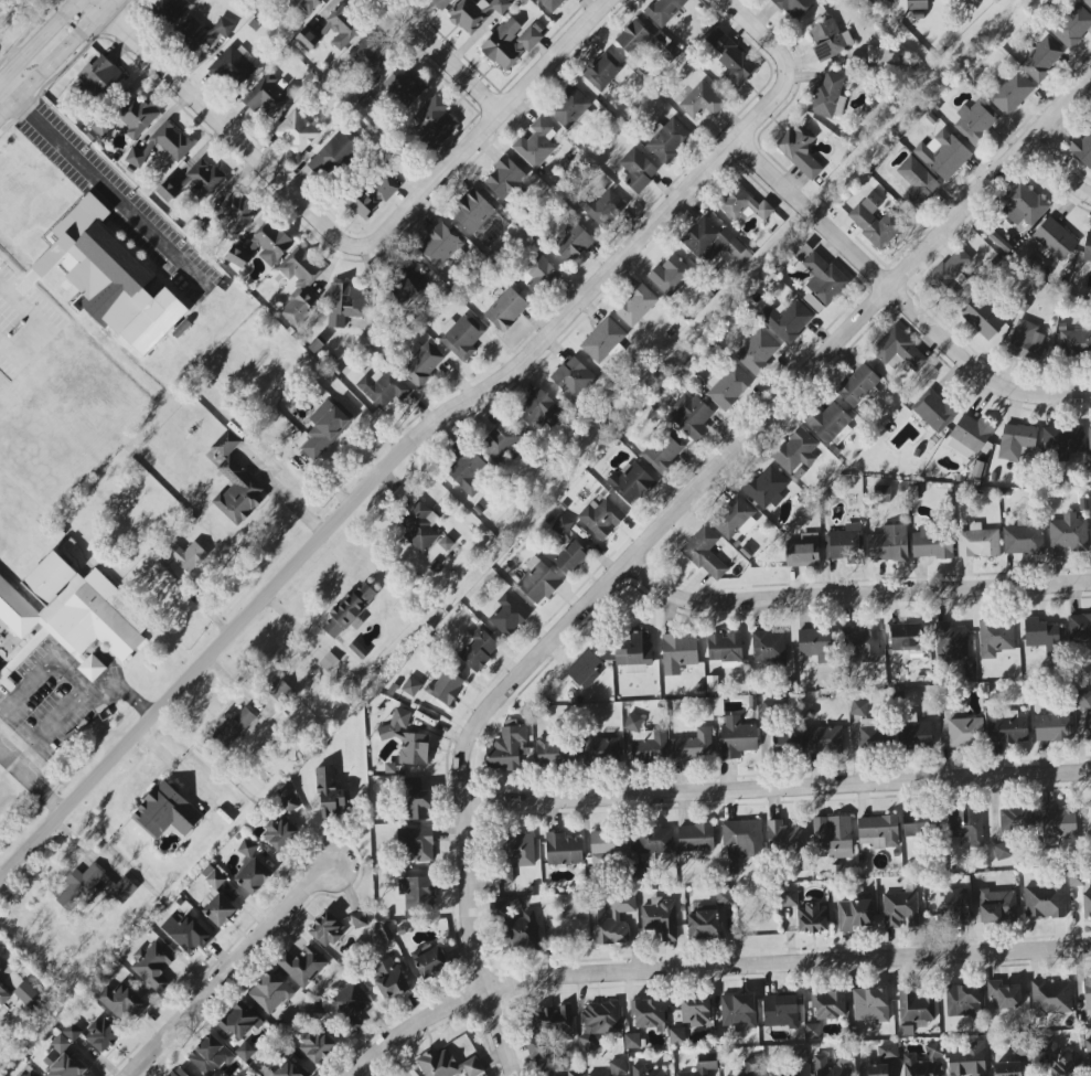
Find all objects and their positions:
building: (891, 0)
building: (1087, 2)
building: (439, 3)
building: (309, 4)
building: (550, 4)
building: (916, 4)
building: (500, 6)
building: (793, 7)
building: (170, 9)
building: (663, 10)
building: (468, 14)
building: (1072, 25)
building: (223, 26)
building: (342, 26)
building: (193, 34)
building: (632, 36)
road: (38, 39)
building: (306, 39)
building: (828, 39)
building: (509, 43)
building: (880, 55)
road: (441, 56)
road: (56, 57)
building: (368, 57)
building: (731, 58)
building: (1041, 58)
road: (785, 66)
building: (233, 67)
building: (602, 71)
building: (101, 77)
building: (404, 85)
building: (1009, 92)
road: (8, 93)
building: (266, 95)
building: (827, 96)
building: (700, 99)
building: (568, 106)
building: (136, 118)
building: (975, 120)
building: (434, 122)
road: (221, 124)
road: (483, 129)
building: (296, 131)
building: (667, 139)
building: (536, 143)
building: (161, 146)
building: (1081, 149)
building: (799, 150)
building: (334, 155)
building: (942, 155)
road: (1059, 168)
building: (637, 170)
building: (504, 178)
road: (97, 182)
building: (193, 182)
building: (917, 182)
building: (368, 198)
building: (1023, 203)
building: (742, 204)
building: (601, 207)
building: (471, 211)
building: (237, 213)
building: (875, 221)
building: (1053, 238)
building: (571, 242)
building: (714, 242)
building: (271, 243)
building: (439, 245)
building: (1087, 247)
building: (236, 257)
building: (538, 270)
building: (670, 274)
building: (950, 276)
building: (109, 277)
building: (820, 279)
building: (299, 285)
building: (409, 287)
road: (898, 297)
building: (346, 302)
building: (635, 306)
building: (505, 309)
building: (982, 317)
building: (785, 319)
road: (36, 329)
building: (461, 335)
building: (1076, 340)
building: (605, 341)
building: (1026, 341)
building: (898, 350)
building: (757, 352)
building: (421, 361)
building: (574, 379)
building: (727, 385)
building: (857, 385)
building: (542, 409)
building: (933, 411)
building: (689, 415)
building: (826, 420)
building: (323, 429)
building: (971, 434)
building: (1089, 438)
building: (501, 440)
building: (1016, 440)
building: (1062, 440)
building: (795, 450)
building: (663, 451)
building: (467, 470)
building: (235, 483)
building: (631, 483)
building: (766, 487)
building: (881, 493)
road: (357, 499)
building: (731, 516)
building: (601, 518)
building: (561, 525)
building: (418, 526)
road: (657, 532)
building: (1069, 533)
building: (1023, 539)
building: (977, 542)
building: (445, 543)
building: (932, 543)
building: (845, 544)
building: (888, 544)
building: (804, 552)
building: (705, 553)
building: (186, 555)
building: (570, 556)
building: (538, 580)
road: (854, 595)
building: (349, 609)
building: (72, 611)
building: (507, 615)
building: (1080, 629)
building: (1041, 636)
building: (905, 637)
building: (995, 637)
building: (950, 641)
building: (816, 643)
building: (860, 643)
building: (768, 647)
building: (477, 648)
building: (357, 649)
building: (725, 649)
building: (633, 652)
building: (678, 652)
building: (328, 661)
building: (92, 668)
building: (585, 669)
building: (3, 674)
road: (78, 685)
building: (410, 686)
building: (445, 688)
road: (122, 690)
building: (280, 691)
building: (1083, 699)
building: (858, 707)
building: (1006, 727)
building: (1051, 727)
building: (1088, 727)
building: (965, 732)
building: (225, 733)
building: (913, 733)
building: (870, 735)
building: (737, 737)
building: (406, 739)
building: (824, 739)
building: (645, 741)
building: (787, 744)
building: (693, 746)
building: (505, 747)
building: (550, 749)
building: (601, 749)
road: (32, 782)
road: (777, 787)
building: (330, 793)
building: (416, 800)
building: (289, 803)
building: (165, 811)
building: (1016, 819)
building: (1057, 822)
building: (917, 824)
building: (965, 825)
building: (280, 831)
building: (878, 831)
building: (784, 835)
building: (832, 837)
building: (695, 838)
building: (654, 840)
building: (741, 840)
building: (416, 842)
building: (608, 844)
building: (248, 849)
building: (518, 849)
building: (563, 849)
building: (1002, 851)
building: (504, 875)
building: (258, 877)
building: (216, 881)
building: (90, 888)
building: (417, 893)
building: (724, 897)
building: (790, 898)
building: (1044, 901)
building: (180, 903)
building: (1087, 904)
building: (997, 906)
building: (952, 907)
building: (218, 908)
building: (900, 909)
building: (854, 915)
building: (660, 917)
building: (812, 917)
building: (359, 919)
building: (612, 919)
building: (703, 925)
building: (515, 926)
building: (327, 929)
building: (186, 933)
building: (430, 961)
building: (302, 965)
road: (708, 965)
building: (153, 966)
road: (229, 968)
building: (388, 978)
building: (2, 993)
building: (270, 993)
building: (1004, 994)
building: (29, 997)
building: (1050, 999)
building: (1088, 1000)
building: (962, 1001)
building: (121, 1002)
building: (869, 1004)
building: (347, 1005)
building: (828, 1005)
building: (914, 1006)
building: (695, 1011)
building: (738, 1011)
building: (780, 1011)
building: (314, 1012)
building: (648, 1012)
building: (239, 1021)
building: (599, 1021)
building: (812, 1031)
building: (73, 1032)
building: (548, 1032)
building: (103, 1034)
building: (675, 1035)
building: (631, 1041)
building: (60, 1044)
building: (1042, 1044)
building: (314, 1046)
building: (245, 1051)
building: (1088, 1052)
building: (210, 1055)
building: (843, 1058)
building: (967, 1059)
building: (879, 1062)
building: (922, 1062)
building: (792, 1063)
building: (447, 1064)
building: (1065, 1065)
building: (751, 1066)
building: (66, 1067)
building: (612, 1068)
building: (1007, 1068)
building: (290, 1069)
building: (699, 1069)
building: (645, 1070)
building: (179, 1072)
building: (573, 1073)
building: (24, 1074)

